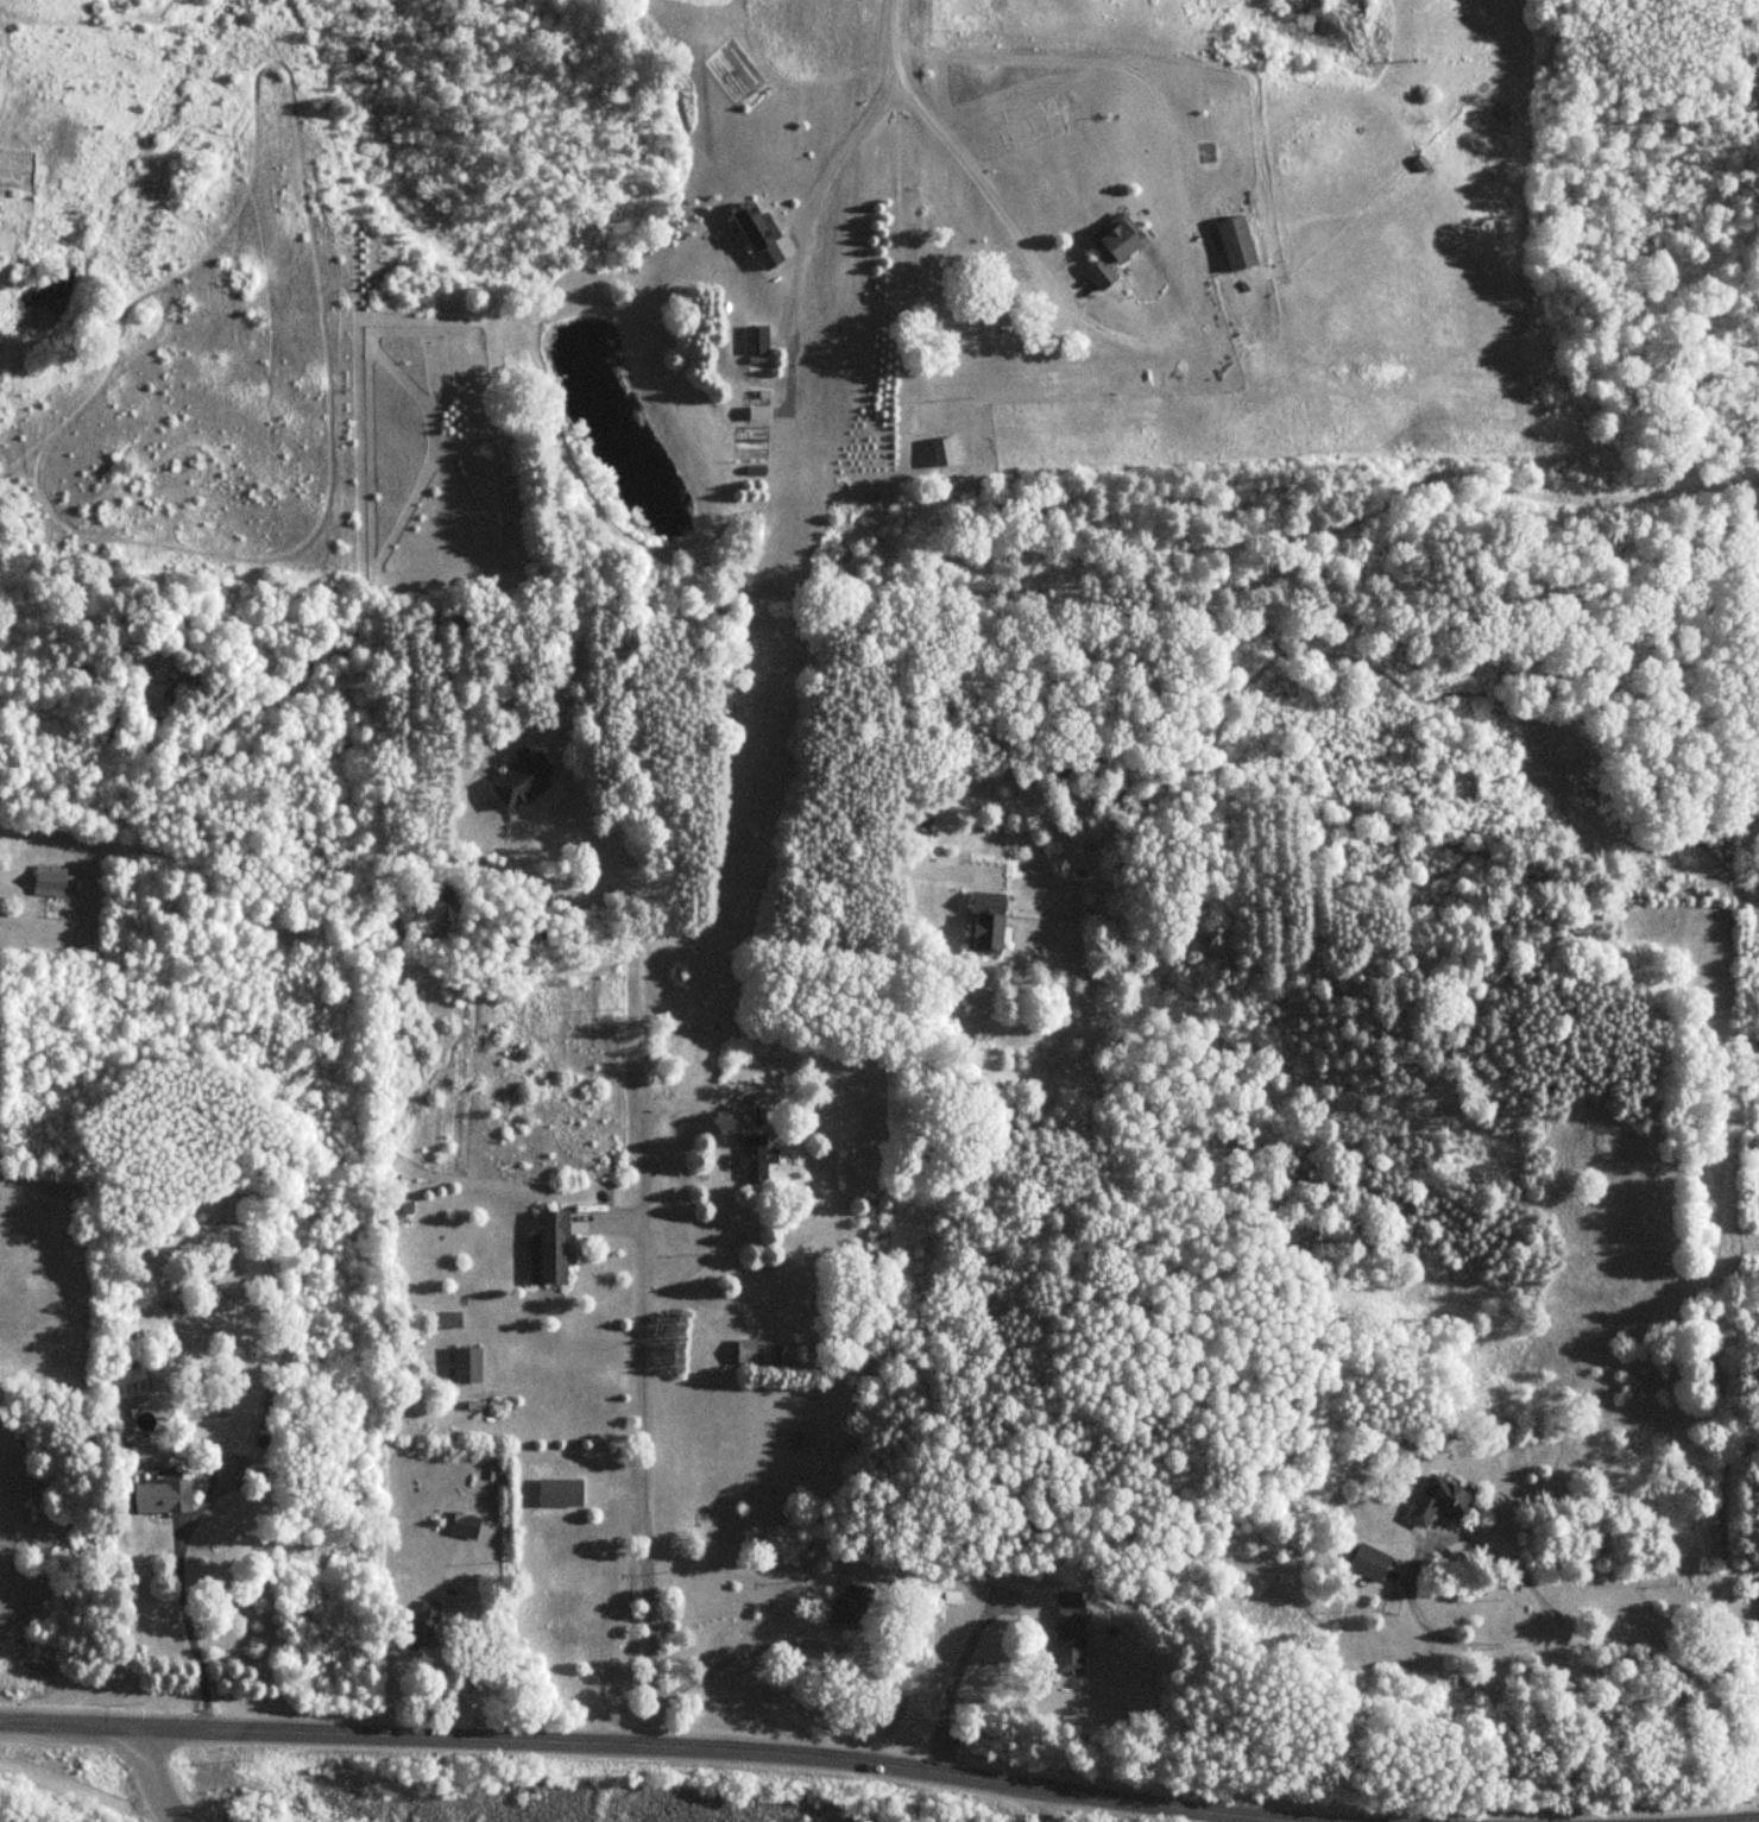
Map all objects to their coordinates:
road: (858, 121)
road: (972, 176)
building: (757, 233)
building: (1236, 244)
building: (1114, 248)
building: (756, 340)
building: (49, 881)
building: (985, 923)
building: (756, 1159)
building: (549, 1249)
building: (447, 1319)
building: (749, 1351)
building: (466, 1364)
building: (128, 1383)
building: (162, 1499)
building: (1438, 1501)
building: (464, 1526)
building: (1368, 1564)
building: (1758, 1591)
building: (852, 1607)
building: (424, 1625)
building: (1068, 1633)
road: (663, 1745)
road: (147, 1777)
road: (1716, 1817)

